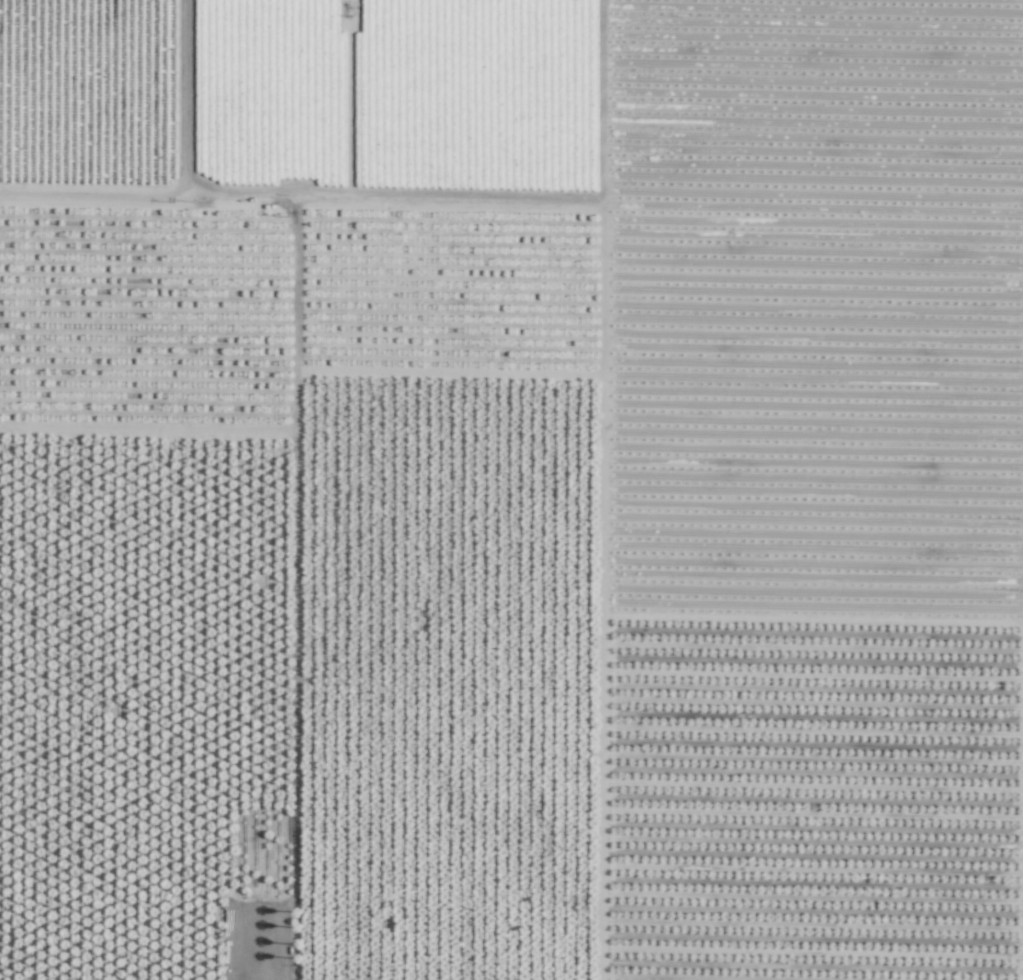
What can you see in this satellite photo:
road: (140, 207)
road: (593, 490)
road: (265, 977)

